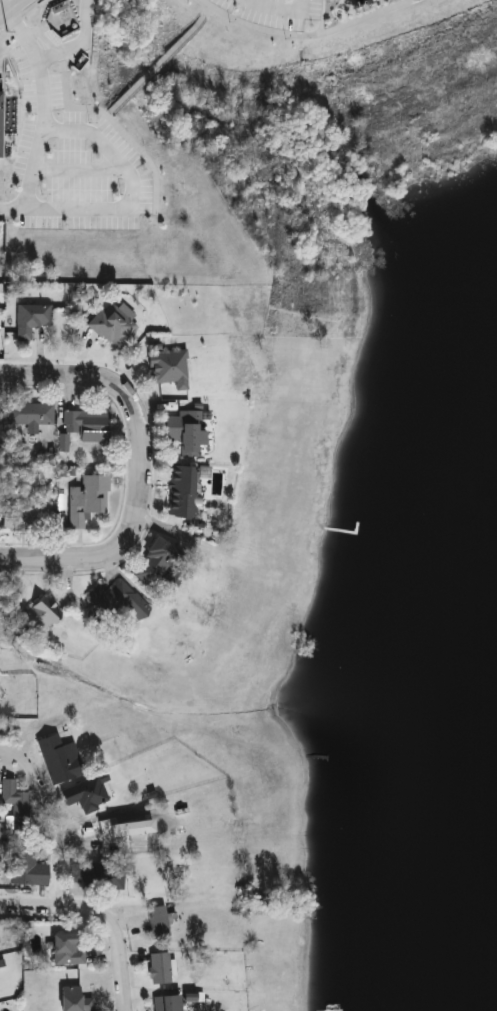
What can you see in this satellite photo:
road: (7, 5)
road: (288, 8)
road: (310, 33)
road: (80, 42)
road: (158, 55)
building: (0, 113)
road: (46, 115)
road: (131, 141)
road: (79, 170)
road: (137, 198)
building: (29, 320)
building: (112, 325)
building: (0, 340)
building: (167, 369)
building: (30, 415)
building: (85, 426)
building: (184, 432)
road: (139, 468)
building: (177, 488)
building: (86, 501)
building: (29, 518)
building: (151, 564)
building: (107, 600)
building: (40, 616)
building: (58, 759)
road: (39, 783)
building: (84, 795)
building: (16, 808)
building: (102, 827)
building: (27, 871)
building: (95, 876)
road: (95, 918)
building: (155, 924)
building: (64, 951)
building: (158, 969)
building: (72, 1000)
building: (165, 1003)

